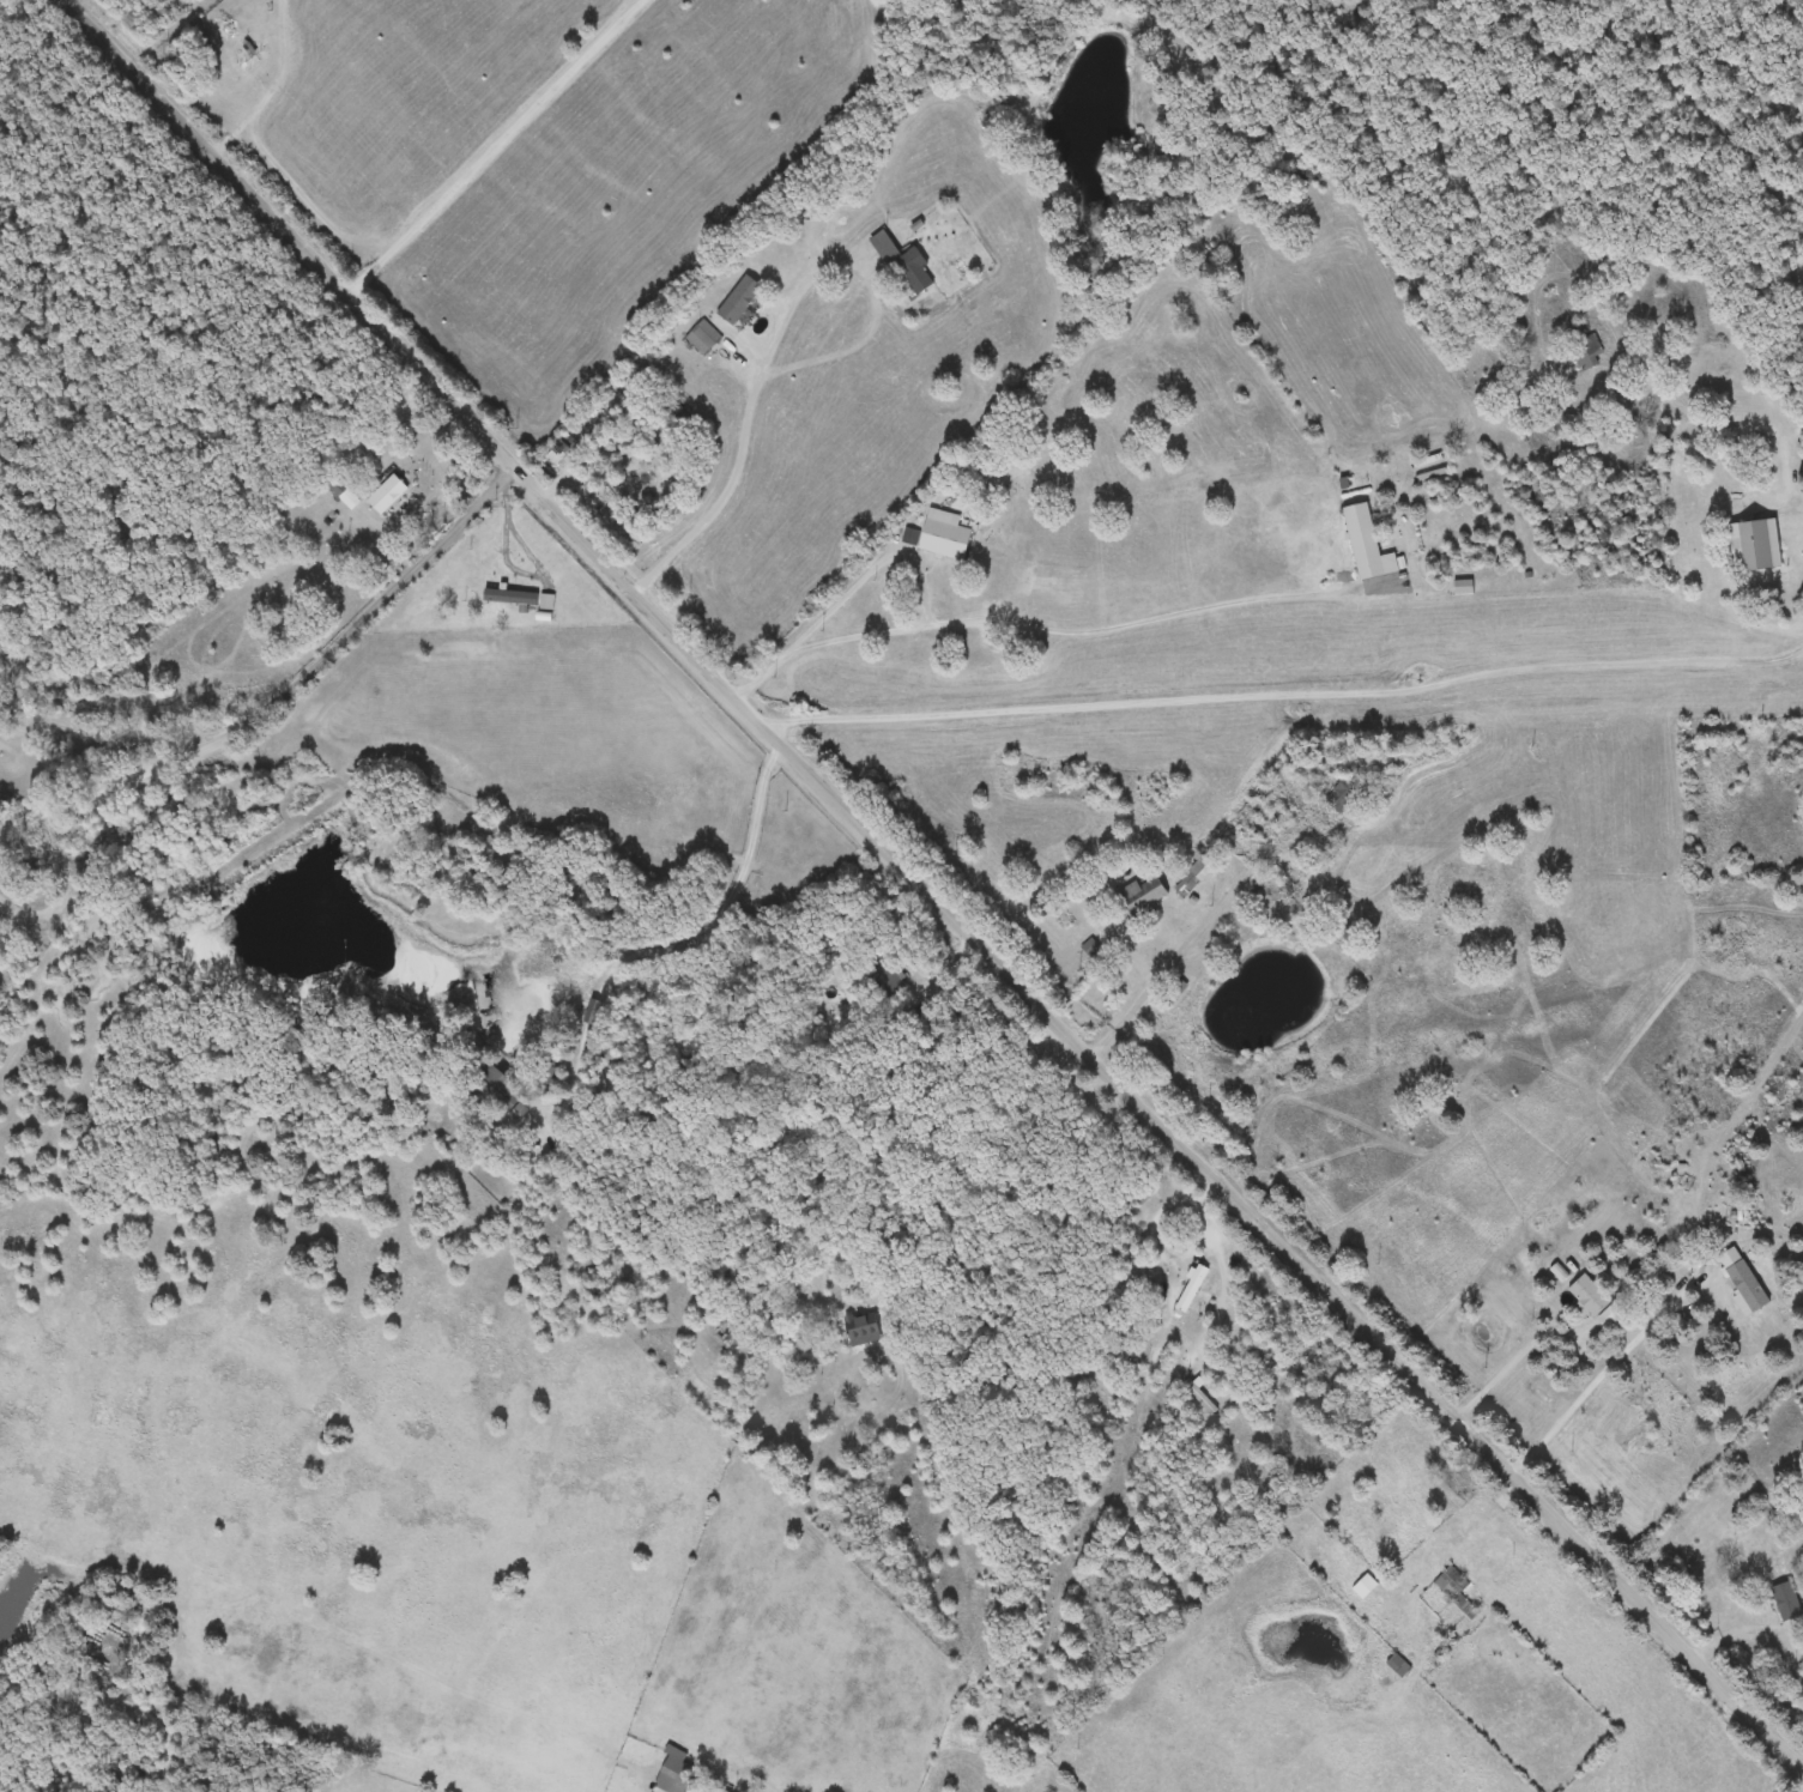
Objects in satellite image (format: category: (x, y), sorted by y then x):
road: (497, 147)
building: (906, 267)
road: (861, 273)
building: (740, 301)
building: (704, 338)
building: (1584, 347)
road: (1773, 396)
road: (1602, 400)
road: (1712, 417)
road: (1659, 452)
road: (440, 458)
building: (388, 495)
road: (724, 500)
building: (945, 535)
building: (1369, 545)
building: (1755, 545)
road: (873, 573)
road: (1048, 629)
road: (1795, 654)
road: (284, 695)
road: (1285, 696)
road: (598, 745)
building: (1324, 757)
building: (1347, 792)
building: (685, 856)
road: (68, 872)
building: (1198, 874)
road: (928, 890)
building: (1139, 900)
road: (17, 909)
road: (724, 916)
road: (1208, 927)
building: (2, 961)
building: (887, 976)
road: (963, 1182)
building: (1742, 1282)
building: (1192, 1290)
building: (1590, 1296)
building: (863, 1331)
road: (1517, 1363)
road: (1602, 1378)
road: (1487, 1516)
building: (1365, 1587)
building: (1456, 1591)
building: (1786, 1602)
building: (1399, 1667)
road: (1460, 1766)
building: (677, 1769)

